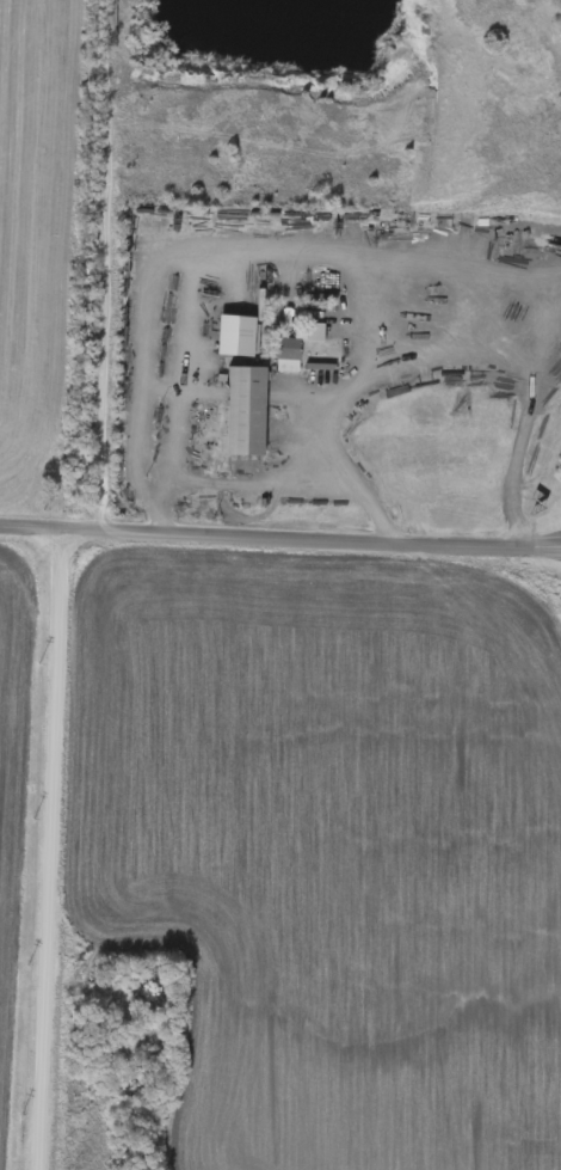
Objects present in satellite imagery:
road: (103, 265)
road: (272, 267)
building: (283, 356)
road: (553, 357)
building: (240, 412)
road: (246, 486)
road: (279, 539)
road: (50, 850)

